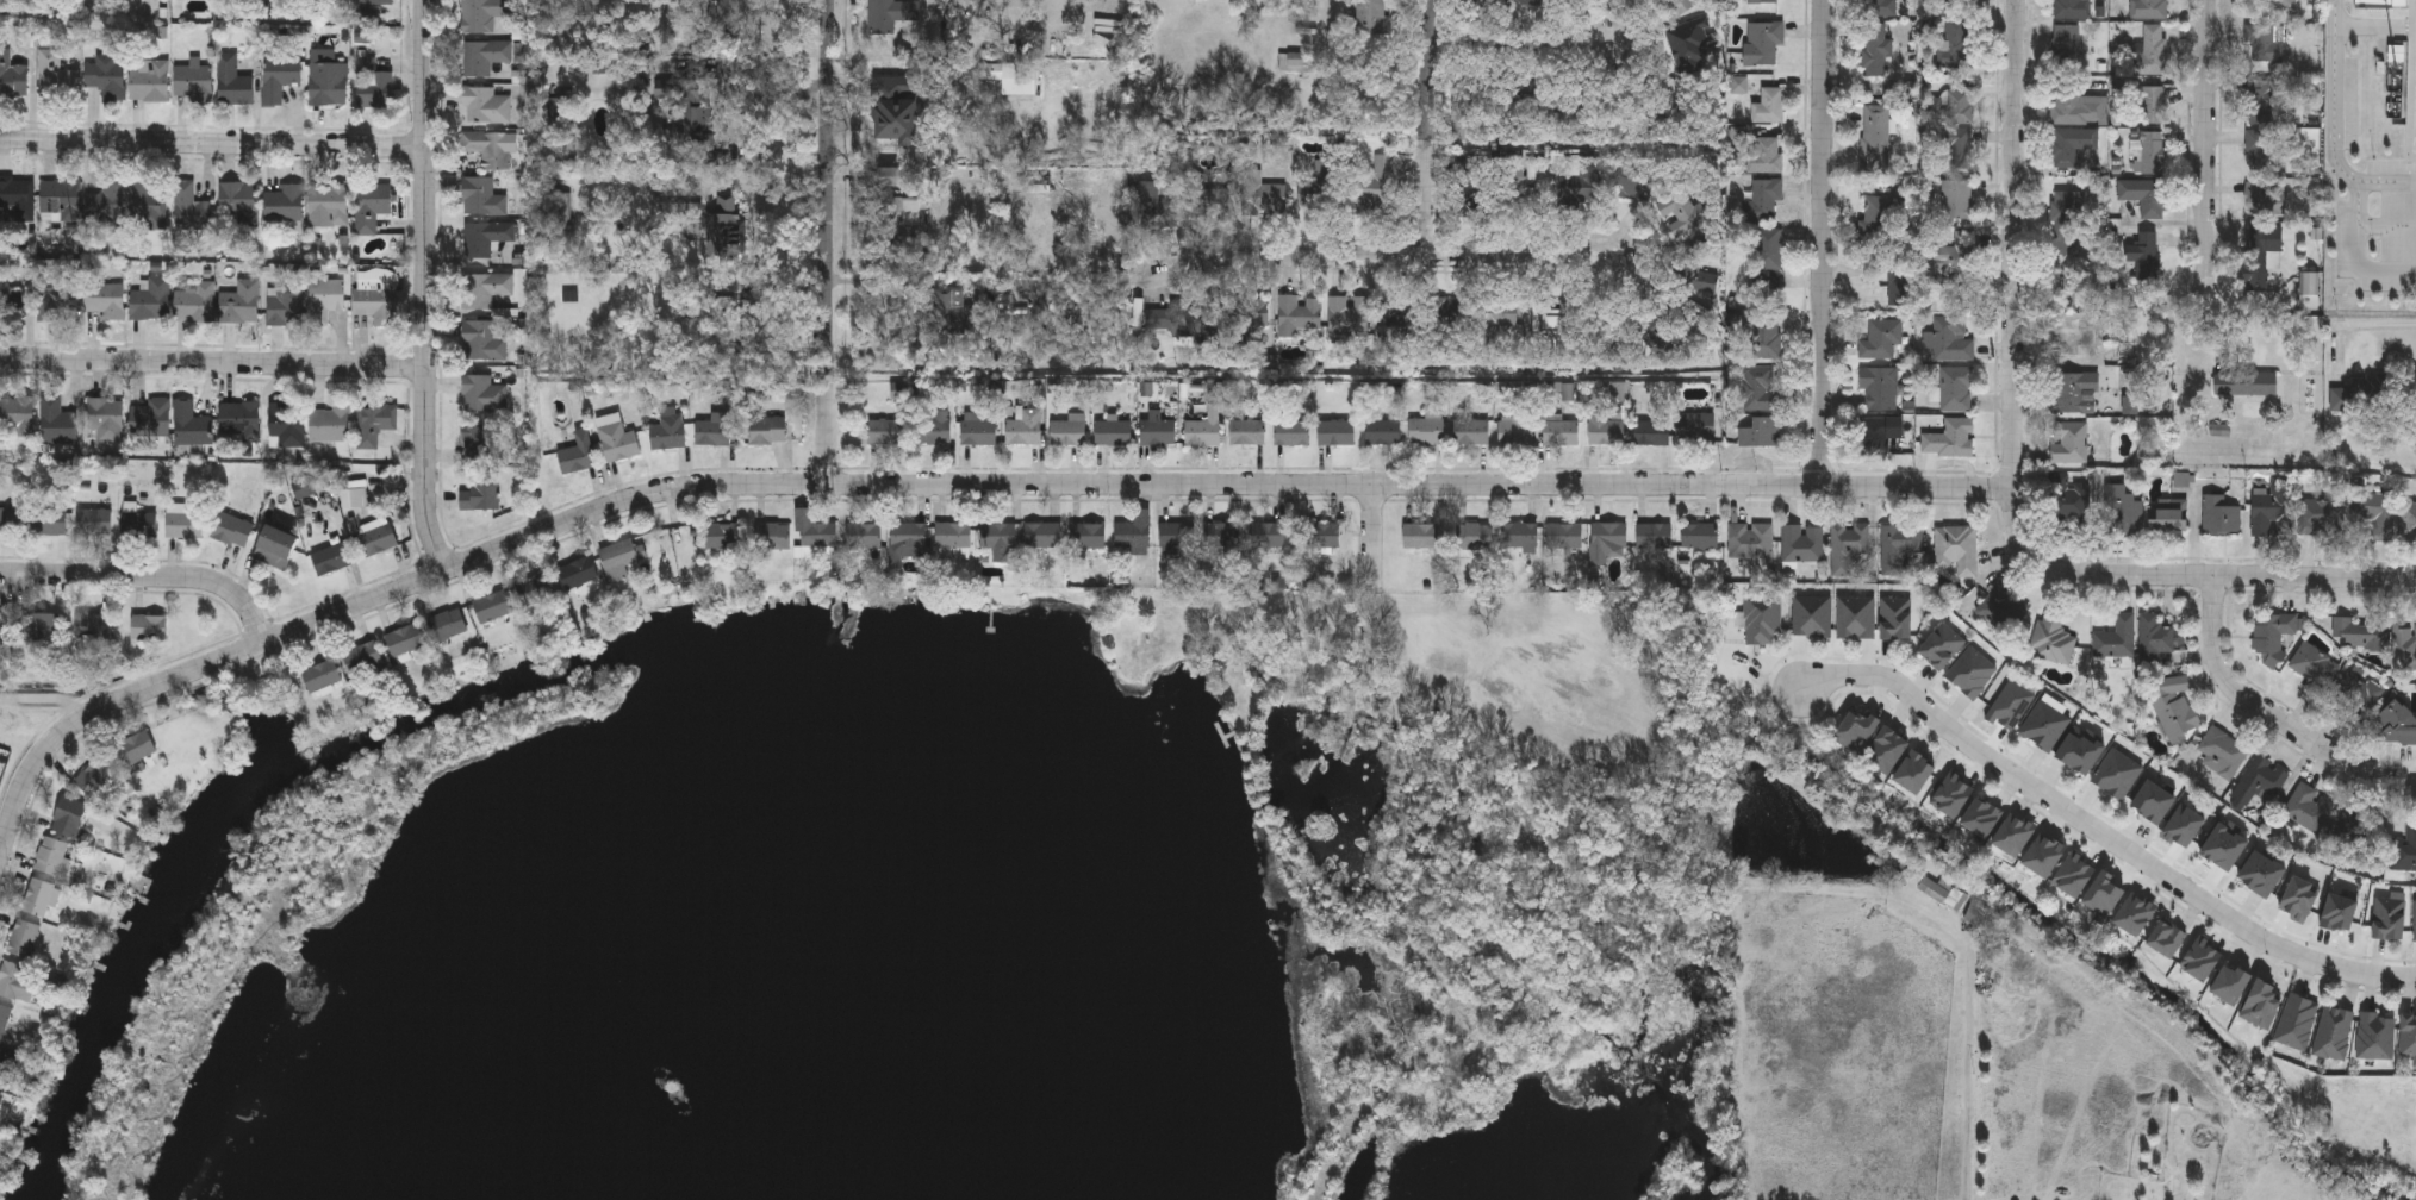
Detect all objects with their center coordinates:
building: (1954, 0)
building: (1764, 1)
building: (374, 2)
building: (2278, 4)
building: (1880, 8)
building: (2071, 8)
building: (2148, 8)
building: (480, 14)
building: (892, 14)
building: (1369, 17)
road: (1515, 39)
building: (1953, 42)
building: (1762, 43)
building: (2262, 43)
building: (2066, 48)
building: (2150, 49)
building: (1875, 50)
building: (484, 56)
building: (1293, 62)
building: (991, 71)
building: (279, 74)
building: (12, 77)
building: (54, 77)
building: (105, 77)
building: (148, 81)
building: (192, 81)
building: (231, 81)
building: (328, 85)
building: (372, 85)
road: (2335, 94)
building: (673, 99)
building: (2261, 101)
building: (2152, 104)
building: (485, 106)
road: (773, 106)
building: (1767, 106)
building: (1956, 106)
building: (2076, 107)
building: (895, 111)
road: (1428, 127)
building: (1876, 138)
road: (213, 143)
road: (2206, 143)
building: (2071, 144)
building: (487, 148)
building: (1959, 149)
building: (2264, 149)
building: (2152, 152)
building: (1764, 155)
building: (886, 177)
building: (1630, 179)
building: (1372, 185)
road: (777, 188)
building: (2143, 195)
building: (481, 198)
building: (15, 199)
building: (58, 199)
building: (1200, 199)
building: (1265, 199)
building: (1764, 199)
building: (1955, 200)
building: (2261, 200)
building: (237, 201)
building: (284, 202)
building: (148, 204)
building: (104, 205)
building: (328, 205)
building: (2346, 206)
building: (189, 207)
building: (371, 207)
building: (1878, 219)
building: (2067, 220)
building: (895, 221)
road: (2359, 221)
building: (724, 227)
road: (2385, 227)
building: (484, 239)
road: (829, 242)
road: (1824, 243)
building: (2143, 248)
building: (1768, 249)
road: (1378, 256)
building: (2256, 258)
building: (1951, 267)
building: (1700, 279)
road: (426, 287)
building: (484, 289)
building: (1899, 289)
building: (55, 293)
building: (376, 296)
building: (104, 299)
building: (150, 299)
building: (324, 299)
building: (239, 302)
building: (284, 302)
building: (11, 304)
building: (193, 304)
road: (2015, 306)
building: (948, 310)
building: (1449, 311)
building: (1497, 313)
building: (1296, 314)
building: (704, 315)
road: (902, 315)
building: (1346, 317)
building: (1171, 320)
building: (1402, 324)
road: (2373, 324)
building: (2071, 337)
building: (1762, 338)
building: (1881, 339)
building: (1948, 339)
building: (481, 342)
road: (213, 363)
building: (2244, 383)
building: (1758, 388)
building: (1878, 388)
building: (1955, 388)
building: (2072, 392)
building: (482, 394)
building: (2359, 395)
building: (17, 415)
building: (150, 418)
building: (104, 420)
building: (55, 421)
building: (238, 421)
building: (373, 423)
building: (330, 424)
building: (189, 425)
building: (286, 425)
building: (935, 429)
building: (1606, 429)
building: (1694, 429)
building: (977, 430)
building: (1022, 430)
building: (1425, 430)
building: (667, 432)
building: (766, 432)
building: (1157, 432)
building: (1245, 432)
building: (1334, 432)
building: (1382, 432)
building: (1469, 432)
building: (1758, 432)
building: (884, 433)
building: (1112, 433)
building: (1201, 433)
building: (1291, 433)
building: (1512, 433)
building: (1558, 433)
building: (1650, 433)
building: (1878, 433)
building: (711, 435)
building: (1066, 435)
building: (1948, 438)
building: (615, 442)
building: (2068, 442)
building: (479, 444)
building: (577, 455)
road: (944, 485)
building: (305, 487)
building: (480, 493)
building: (353, 495)
building: (2071, 500)
building: (2119, 506)
building: (2271, 511)
building: (2166, 514)
building: (2374, 514)
building: (2218, 515)
building: (2318, 517)
building: (52, 519)
building: (2408, 520)
building: (10, 521)
building: (93, 521)
building: (137, 524)
building: (183, 525)
road: (672, 529)
building: (231, 531)
building: (812, 531)
building: (1132, 531)
building: (1041, 535)
building: (1219, 535)
building: (1607, 535)
building: (375, 536)
building: (861, 536)
building: (1085, 536)
building: (1265, 536)
building: (1320, 536)
building: (1419, 536)
building: (1472, 536)
building: (1563, 536)
building: (1651, 536)
building: (721, 537)
building: (771, 537)
building: (1176, 537)
building: (1519, 537)
building: (1698, 537)
building: (908, 540)
building: (952, 540)
building: (998, 540)
building: (1749, 540)
building: (1801, 543)
building: (1897, 546)
building: (275, 548)
road: (1377, 548)
building: (1955, 549)
building: (1847, 550)
building: (618, 558)
building: (330, 560)
building: (577, 574)
road: (2250, 576)
road: (148, 577)
building: (535, 588)
building: (491, 606)
building: (2005, 608)
building: (1811, 617)
building: (1854, 618)
building: (1894, 618)
building: (1761, 620)
building: (2, 624)
building: (446, 624)
building: (92, 626)
building: (38, 627)
building: (148, 627)
building: (2358, 633)
building: (2155, 635)
building: (2272, 636)
building: (2051, 638)
building: (2115, 638)
building: (404, 640)
building: (2405, 645)
building: (1941, 646)
building: (361, 660)
building: (2314, 669)
building: (1970, 673)
building: (320, 676)
building: (2353, 696)
building: (2172, 711)
road: (2272, 715)
building: (2395, 724)
building: (1855, 731)
building: (135, 750)
building: (1885, 750)
building: (2221, 752)
building: (1914, 773)
building: (2117, 774)
building: (93, 776)
building: (2259, 781)
building: (2308, 808)
building: (68, 817)
building: (1980, 818)
road: (2101, 833)
building: (2356, 838)
building: (2404, 851)
building: (52, 857)
building: (1939, 893)
building: (39, 899)
building: (1979, 917)
building: (2387, 918)
building: (2414, 921)
building: (21, 939)
building: (17, 982)
building: (4, 1019)
building: (2296, 1021)
building: (2333, 1032)
building: (2408, 1035)
building: (2375, 1036)
building: (10, 1069)
road: (1969, 1076)
building: (0, 1099)

